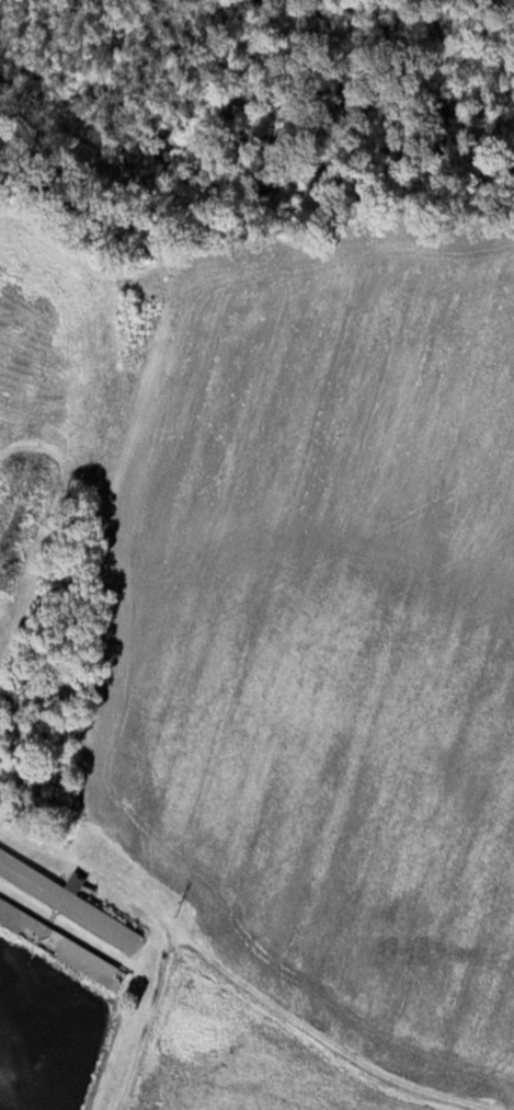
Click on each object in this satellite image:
building: (65, 897)
building: (61, 945)

